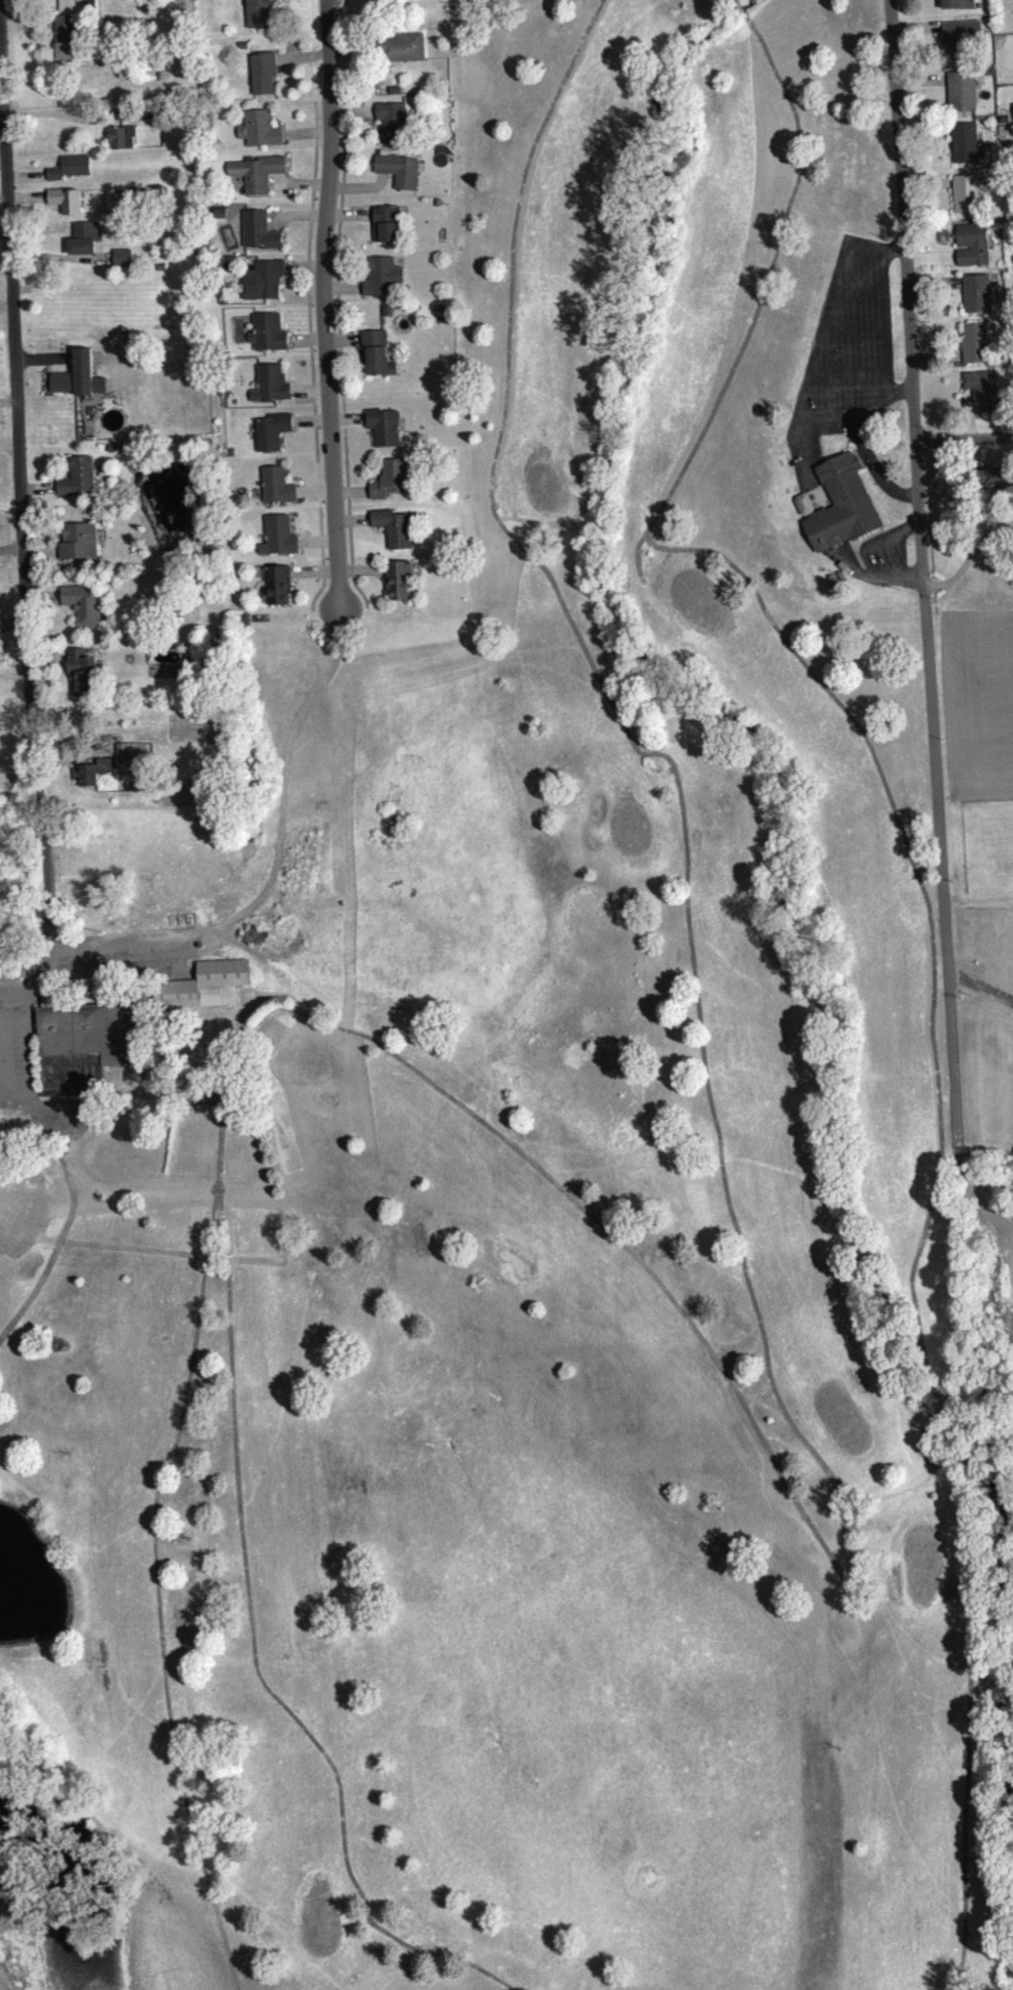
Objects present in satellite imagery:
road: (734, 0)
building: (959, 7)
road: (740, 9)
building: (256, 12)
building: (66, 44)
building: (961, 46)
building: (404, 54)
building: (262, 71)
building: (963, 98)
building: (394, 128)
building: (261, 136)
building: (123, 144)
building: (966, 149)
building: (72, 174)
building: (401, 177)
building: (257, 180)
building: (968, 200)
building: (67, 207)
building: (388, 231)
building: (261, 238)
building: (86, 244)
building: (974, 251)
building: (123, 264)
building: (383, 283)
building: (266, 286)
building: (978, 299)
road: (324, 303)
road: (885, 338)
building: (270, 339)
building: (976, 349)
building: (376, 358)
road: (808, 376)
building: (77, 382)
road: (897, 386)
building: (273, 390)
building: (984, 396)
building: (386, 433)
building: (273, 437)
road: (964, 441)
road: (808, 447)
road: (27, 480)
building: (997, 483)
building: (80, 484)
building: (395, 485)
building: (279, 492)
building: (844, 512)
building: (397, 534)
road: (880, 539)
building: (281, 543)
building: (80, 548)
road: (971, 564)
road: (878, 576)
road: (924, 579)
building: (401, 587)
building: (280, 592)
building: (85, 611)
road: (809, 668)
building: (84, 678)
building: (91, 770)
building: (93, 779)
road: (280, 859)
building: (203, 982)
building: (84, 1045)
park: (533, 1189)
road: (735, 1227)
road: (192, 1346)
road: (931, 1416)
road: (252, 1651)
road: (967, 1694)
road: (7, 1978)

